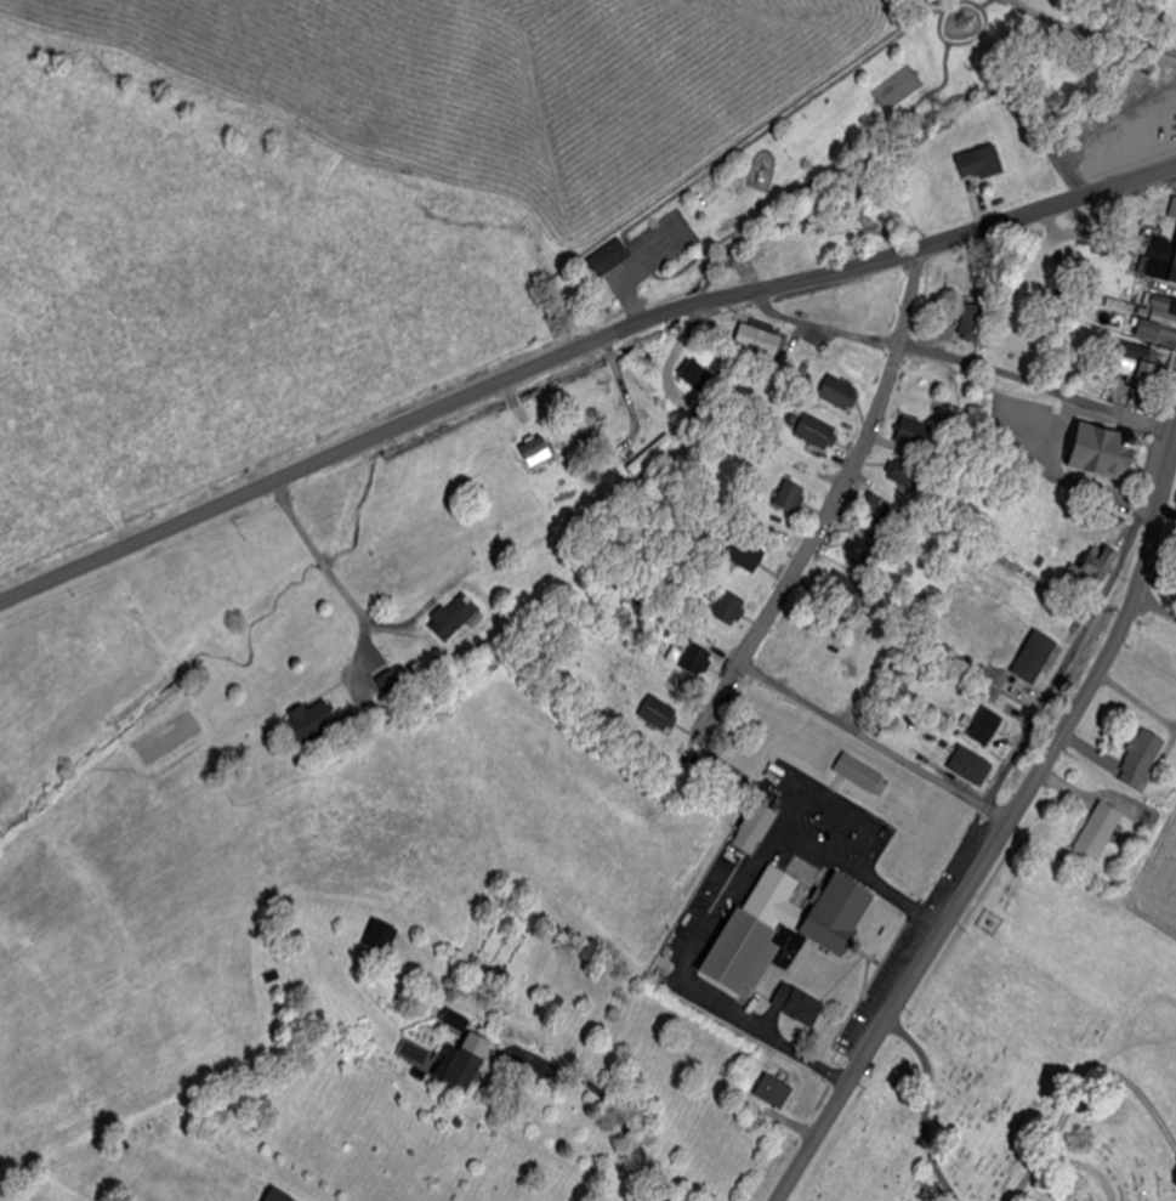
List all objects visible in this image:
road: (984, 2)
road: (1040, 16)
road: (1123, 38)
road: (965, 43)
park: (901, 86)
park: (783, 163)
building: (981, 163)
parking lot: (669, 239)
road: (728, 239)
road: (733, 249)
road: (636, 254)
building: (609, 255)
building: (1155, 255)
road: (632, 266)
building: (1174, 273)
road: (874, 281)
road: (776, 287)
building: (972, 322)
building: (1159, 322)
building: (760, 340)
building: (1138, 362)
building: (697, 374)
road: (1038, 385)
building: (840, 393)
building: (817, 431)
building: (915, 432)
building: (538, 451)
building: (1104, 451)
building: (652, 455)
road: (851, 464)
building: (791, 495)
building: (876, 509)
road: (192, 516)
building: (864, 553)
building: (745, 554)
building: (1095, 567)
building: (731, 607)
building: (454, 616)
building: (1061, 616)
road: (1079, 644)
building: (1041, 645)
building: (978, 651)
building: (698, 659)
road: (715, 704)
building: (660, 713)
building: (311, 723)
building: (987, 726)
road: (875, 741)
building: (1142, 759)
building: (968, 764)
building: (856, 771)
road: (841, 817)
building: (755, 826)
building: (1100, 829)
road: (1001, 834)
road: (733, 902)
building: (825, 928)
flagpole: (887, 934)
building: (381, 936)
building: (797, 1003)
park: (1023, 1055)
building: (462, 1061)
building: (774, 1090)
road: (612, 1103)
building: (278, 1196)

